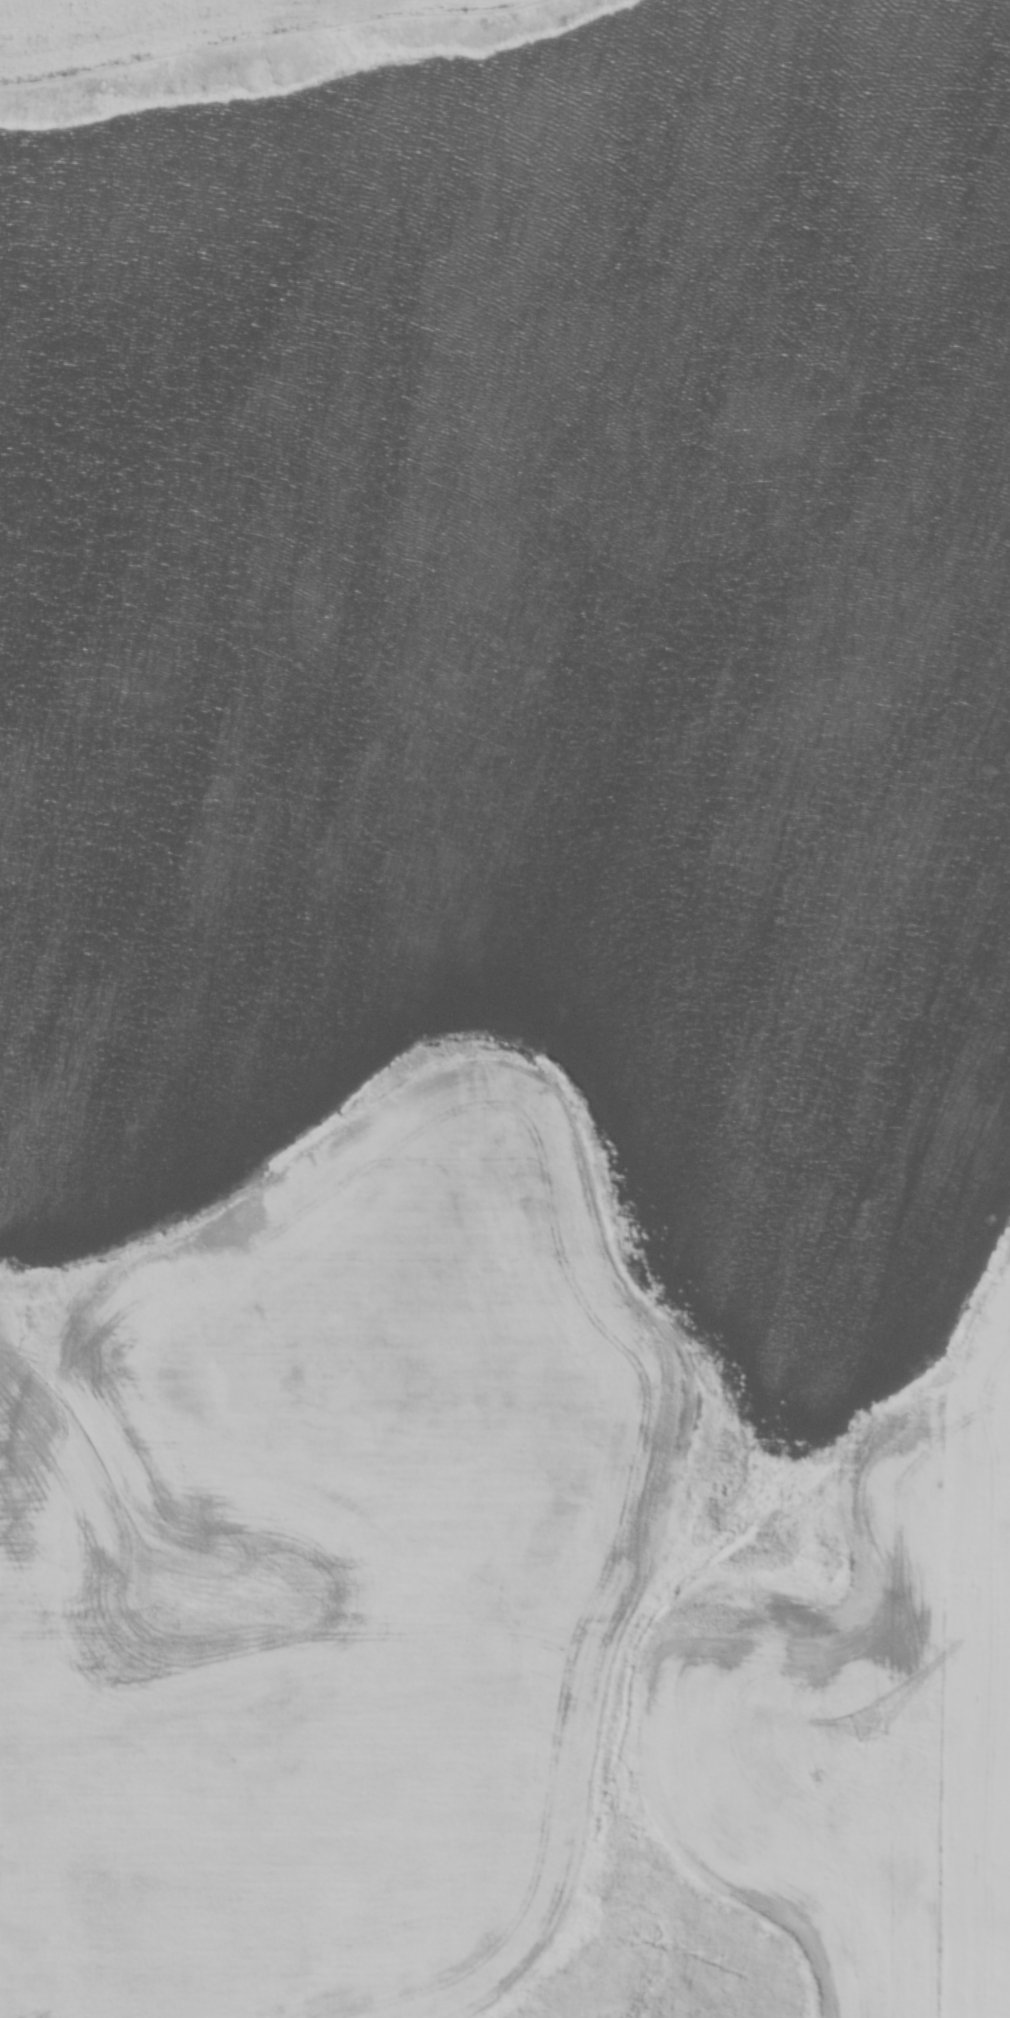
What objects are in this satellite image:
power tower: (868, 1725)

